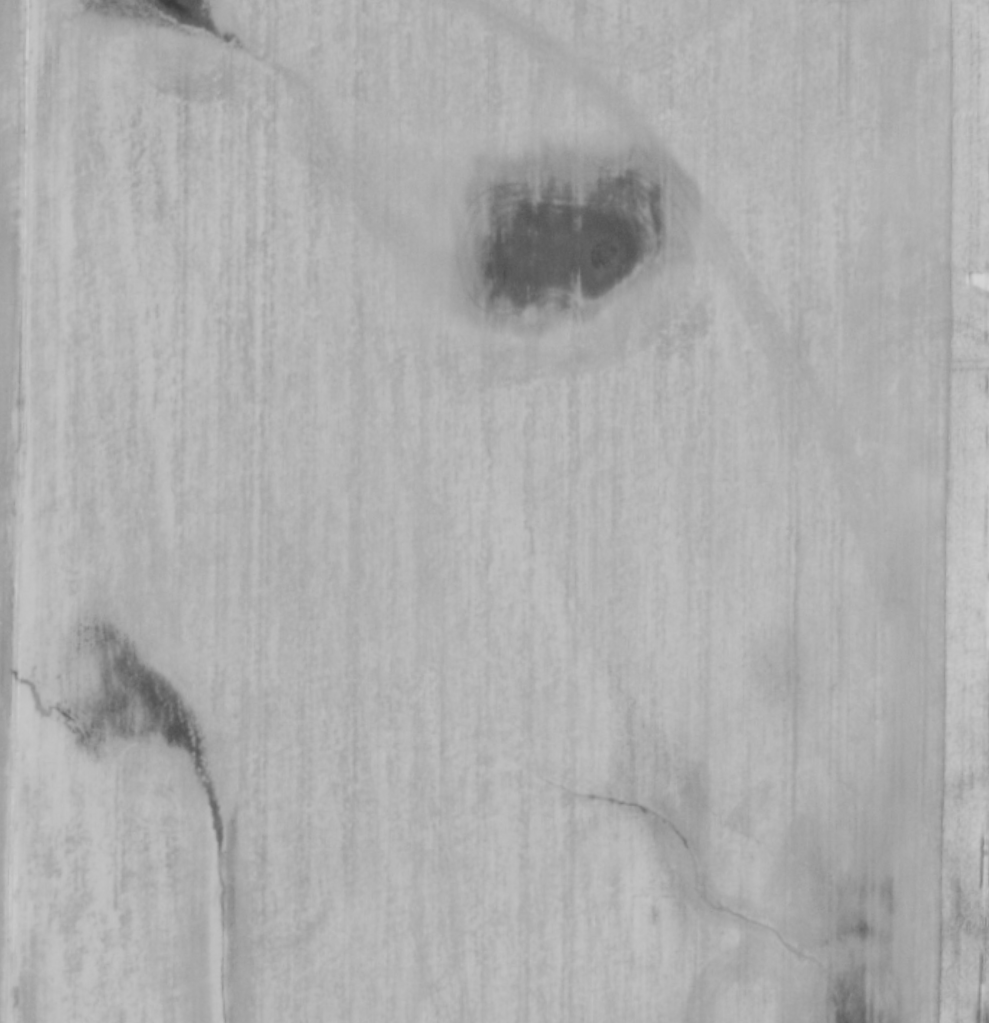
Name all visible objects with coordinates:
crop: (965, 526)

